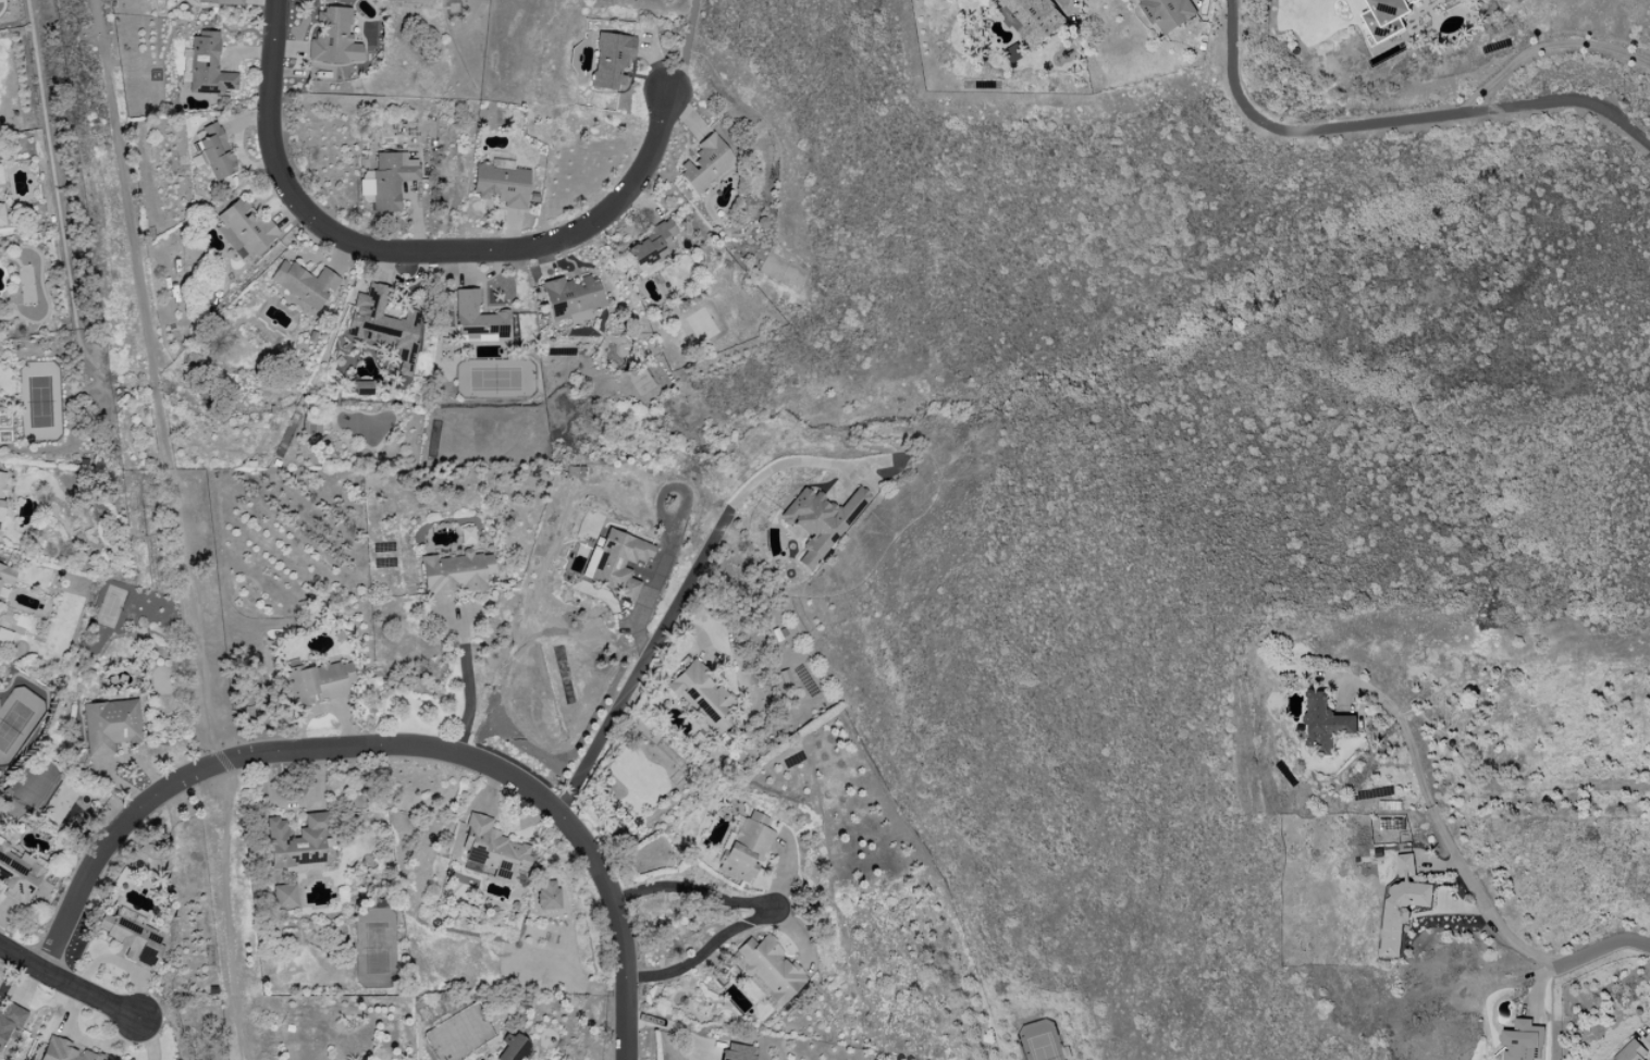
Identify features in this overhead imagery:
building: (217, 2)
building: (1168, 13)
building: (1031, 17)
building: (1384, 17)
building: (332, 38)
road: (1550, 52)
building: (607, 60)
building: (206, 66)
road: (1395, 120)
building: (212, 152)
building: (703, 163)
building: (389, 180)
building: (498, 183)
building: (1, 218)
building: (243, 230)
building: (649, 245)
road: (409, 250)
building: (303, 284)
building: (569, 298)
building: (382, 325)
road: (149, 384)
building: (360, 389)
building: (1, 486)
building: (818, 521)
building: (465, 534)
building: (617, 564)
building: (453, 574)
building: (4, 579)
road: (674, 603)
building: (316, 682)
road: (466, 689)
building: (699, 693)
building: (1325, 720)
building: (108, 725)
road: (383, 749)
building: (1391, 823)
road: (1444, 828)
building: (295, 843)
building: (744, 847)
building: (491, 850)
building: (15, 876)
road: (688, 893)
building: (545, 895)
building: (283, 896)
building: (1401, 902)
road: (225, 911)
building: (131, 939)
road: (1602, 949)
road: (699, 951)
building: (766, 969)
road: (64, 987)
building: (9, 1019)
building: (1520, 1041)
building: (508, 1048)
building: (62, 1051)
building: (1630, 1051)
building: (736, 1052)

